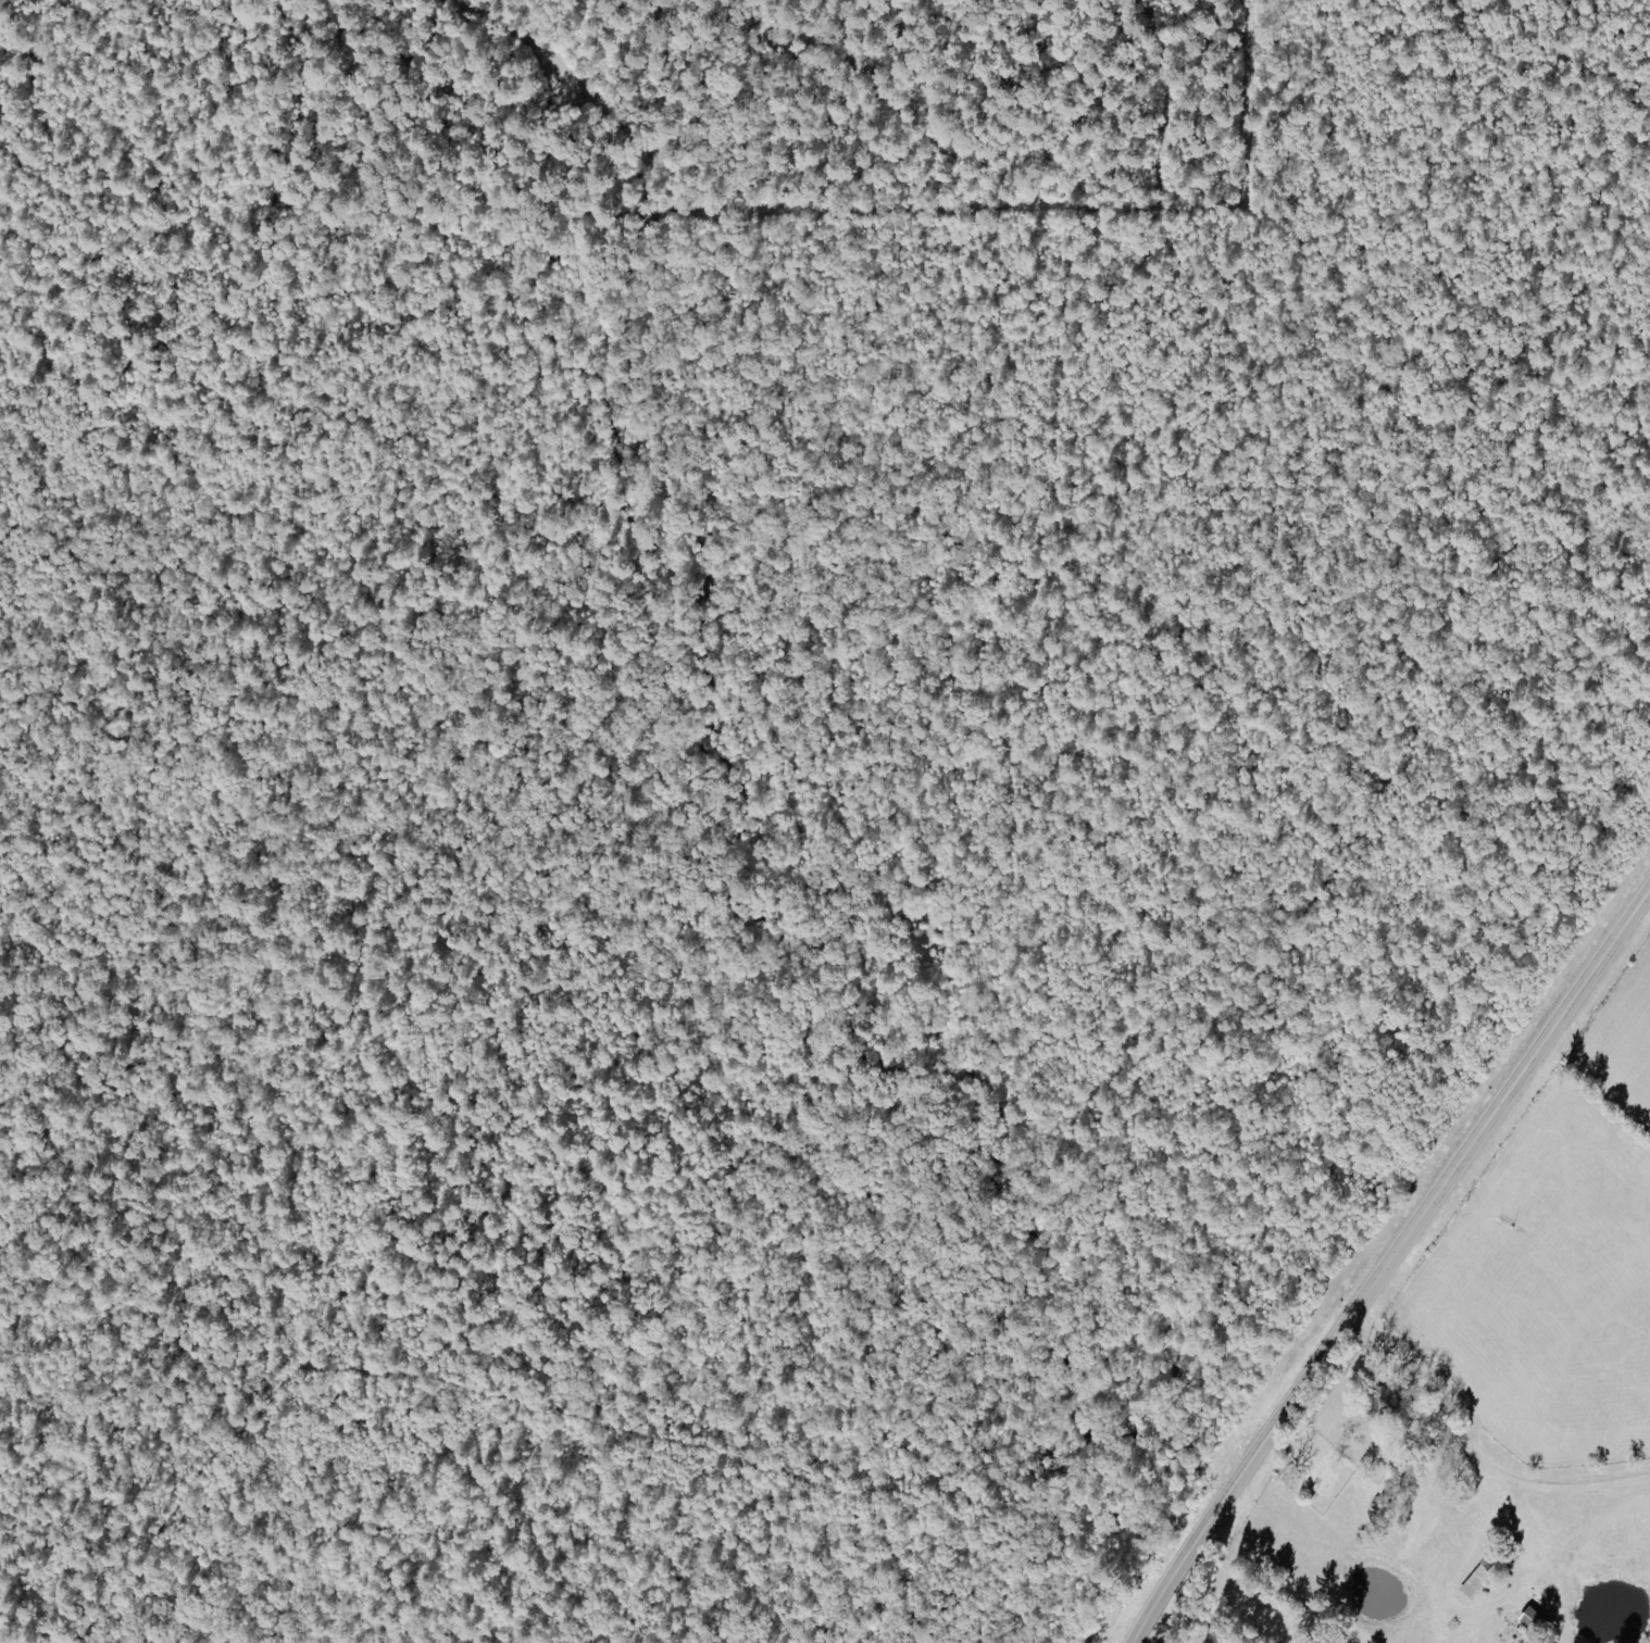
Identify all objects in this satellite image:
road: (1379, 1254)
road: (1465, 1455)
park: (1310, 1471)
building: (1480, 1577)

